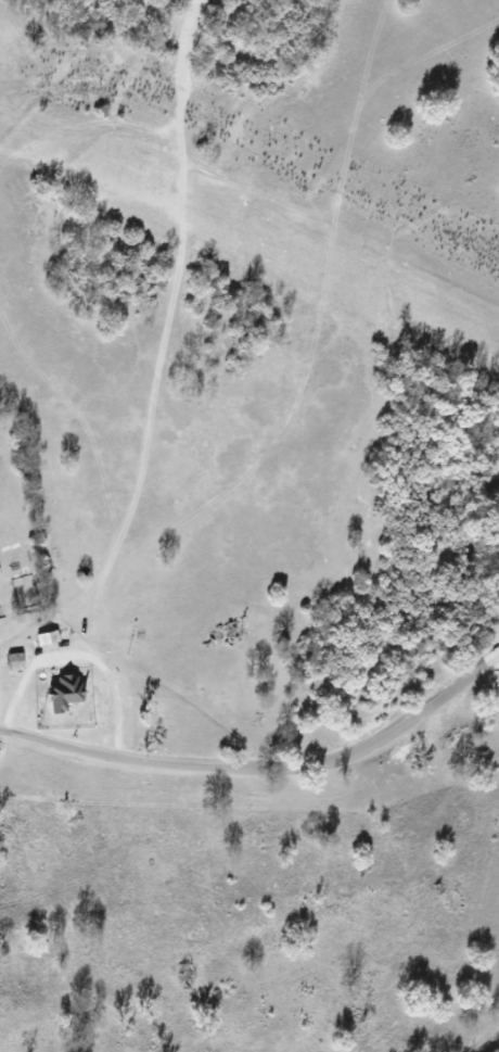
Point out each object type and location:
building: (49, 636)
building: (14, 660)
building: (64, 692)
road: (264, 762)

